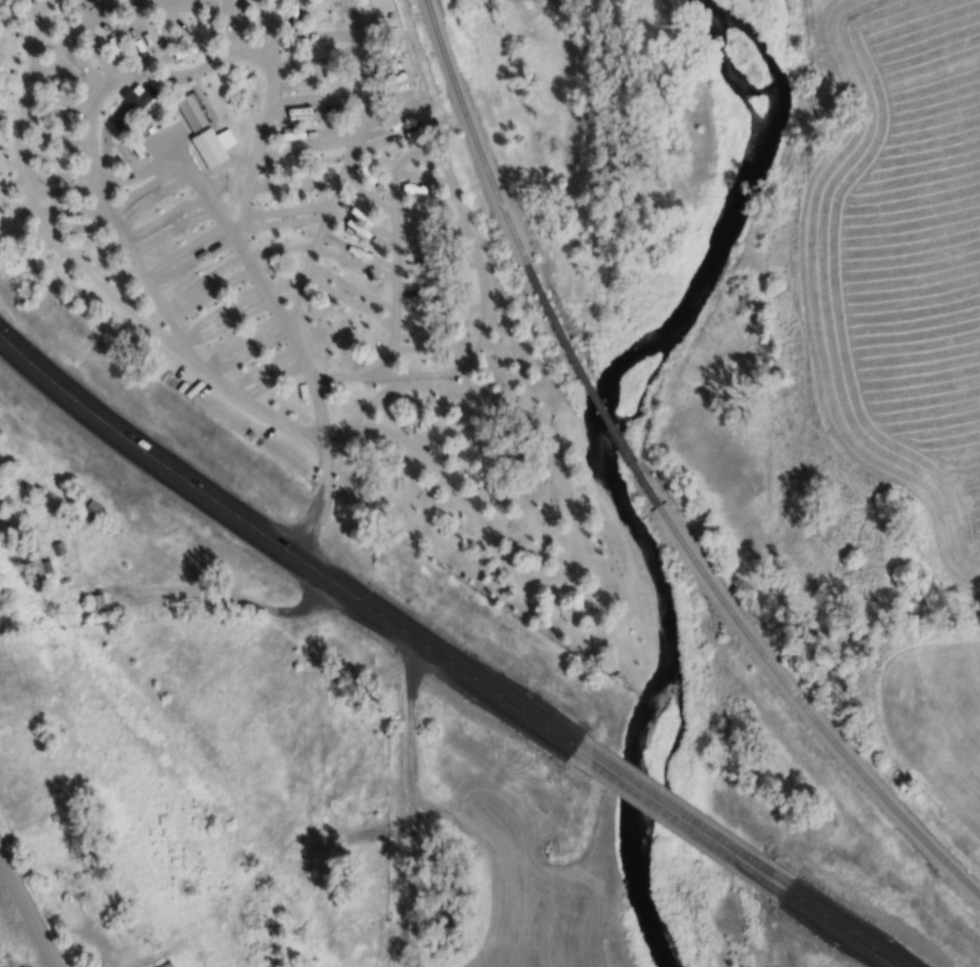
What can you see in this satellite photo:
road: (93, 20)
building: (133, 106)
building: (192, 113)
railway: (472, 133)
building: (67, 139)
building: (214, 147)
road: (347, 165)
road: (128, 176)
road: (461, 208)
road: (88, 270)
road: (141, 270)
railway: (589, 386)
river: (598, 452)
road: (573, 526)
road: (282, 540)
building: (96, 604)
railway: (807, 710)
road: (680, 818)
road: (30, 906)
road: (845, 927)
building: (168, 965)

